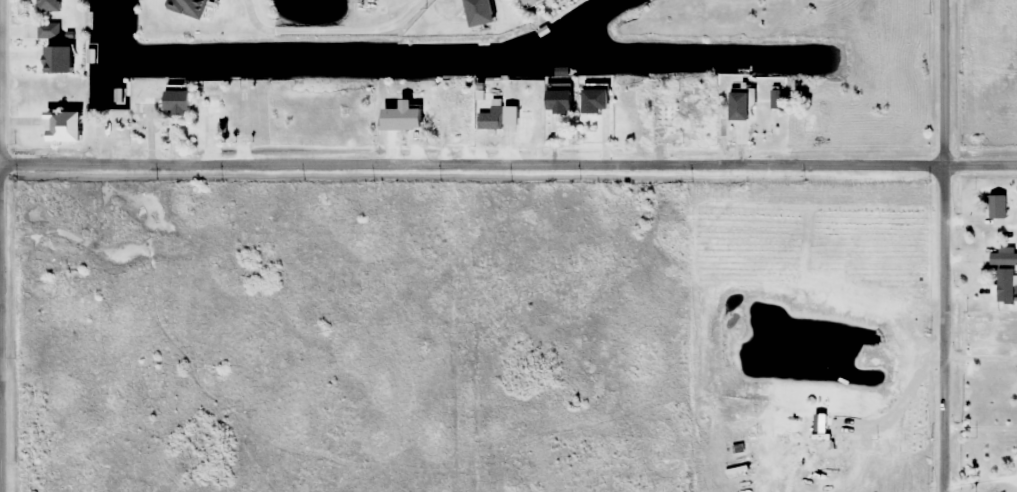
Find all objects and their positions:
building: (529, 3)
building: (362, 5)
building: (47, 6)
building: (188, 7)
building: (477, 12)
building: (48, 31)
building: (557, 99)
building: (174, 101)
building: (593, 102)
building: (737, 107)
building: (140, 109)
building: (454, 113)
building: (211, 114)
building: (405, 116)
building: (494, 117)
building: (660, 117)
building: (61, 127)
building: (102, 131)
building: (738, 132)
road: (508, 164)
building: (996, 207)
road: (939, 245)
building: (1006, 256)
building: (1005, 286)

